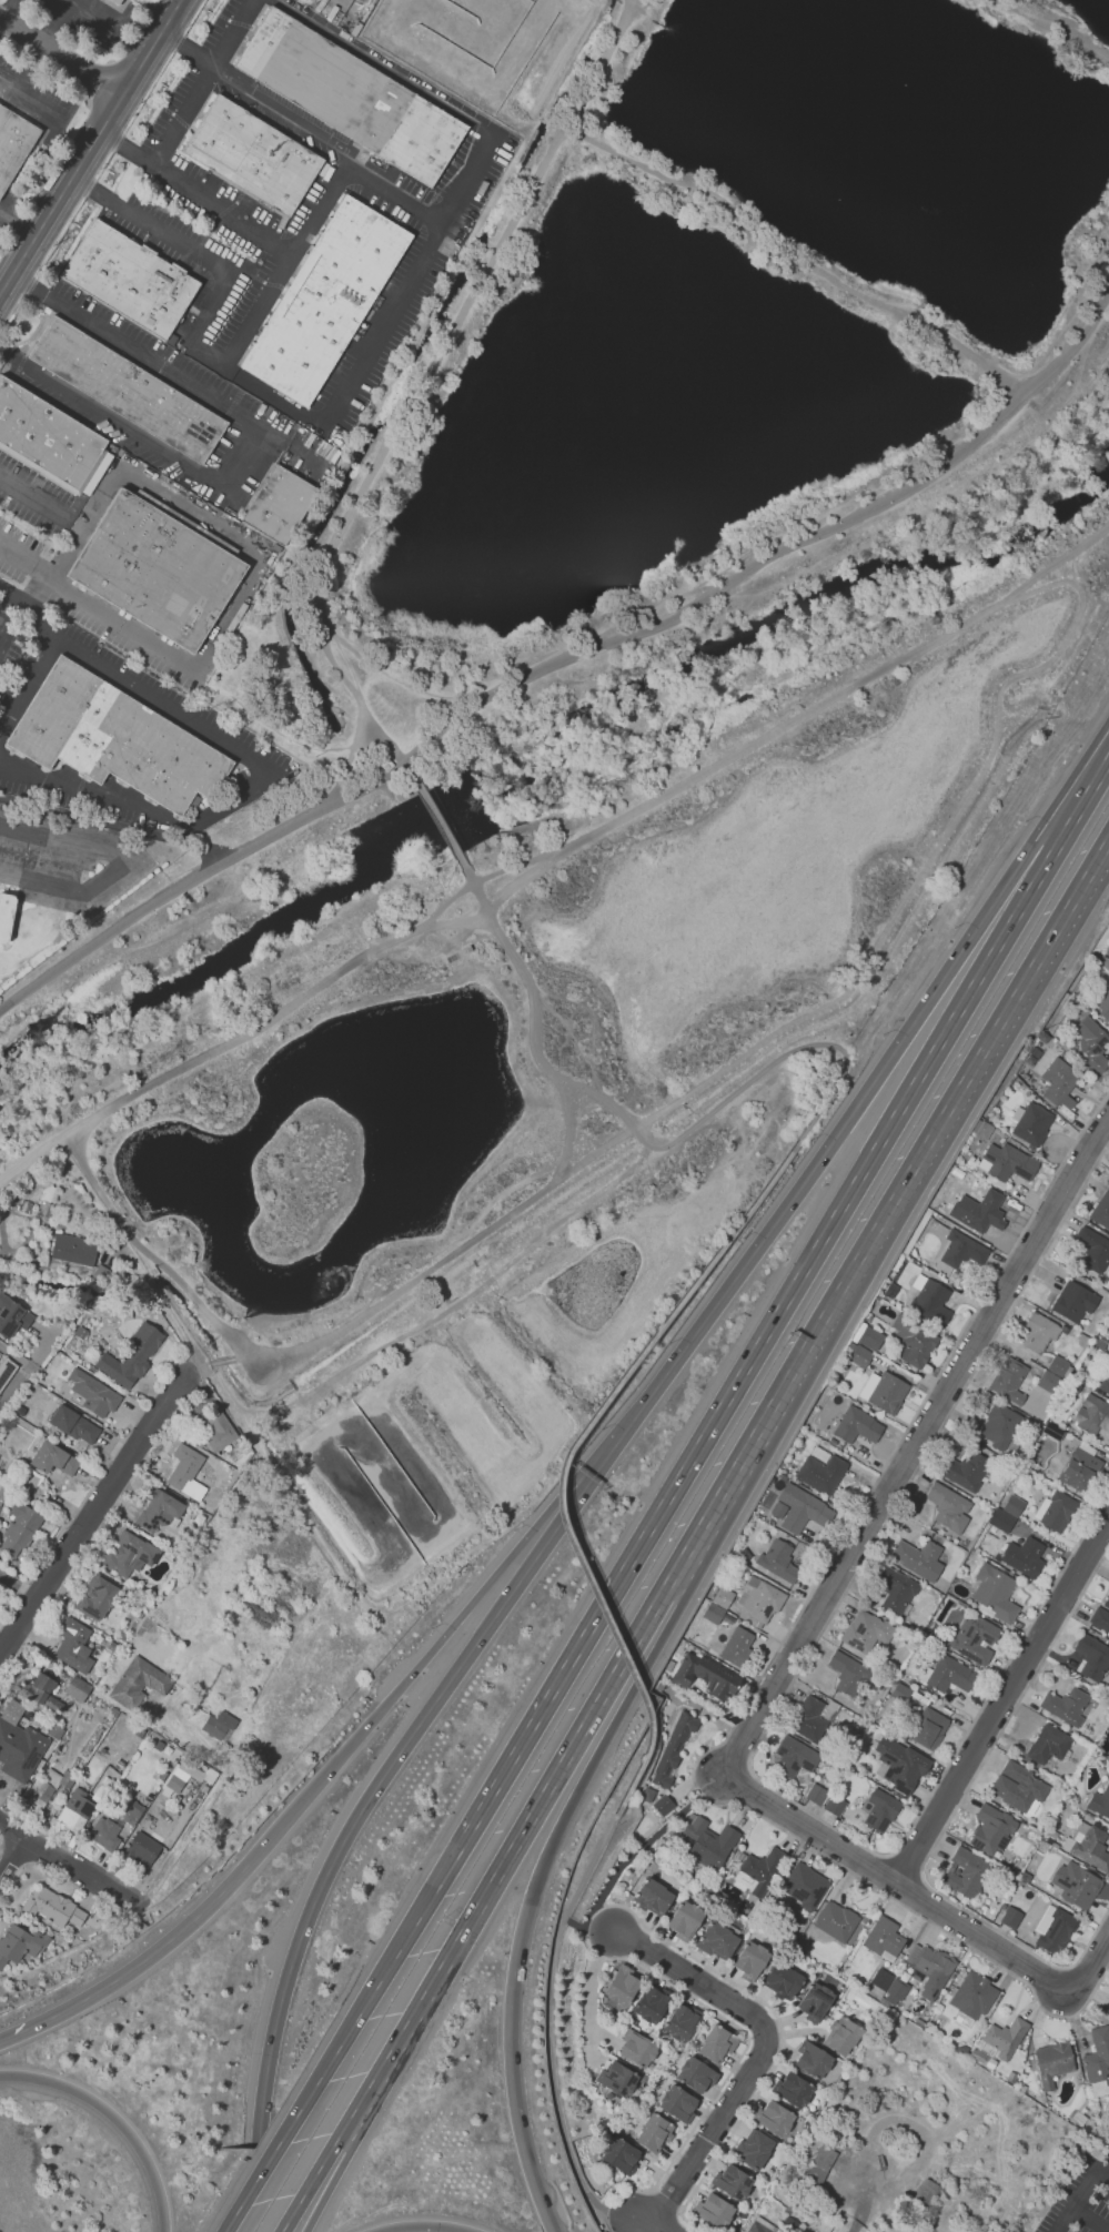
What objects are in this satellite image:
road: (343, 1)
road: (67, 2)
building: (118, 2)
road: (1058, 22)
road: (61, 57)
road: (216, 58)
road: (601, 62)
building: (354, 97)
road: (286, 112)
road: (183, 115)
road: (99, 130)
building: (14, 144)
building: (255, 156)
road: (16, 232)
road: (285, 253)
road: (9, 254)
road: (792, 260)
road: (14, 267)
building: (133, 280)
road: (6, 282)
building: (327, 301)
road: (258, 310)
road: (369, 352)
road: (430, 365)
building: (130, 391)
building: (49, 437)
road: (245, 444)
road: (30, 497)
road: (177, 502)
building: (278, 504)
road: (24, 563)
road: (1072, 566)
building: (160, 570)
road: (42, 619)
road: (119, 628)
road: (2, 632)
road: (564, 659)
road: (382, 671)
road: (27, 679)
road: (354, 693)
park: (603, 729)
road: (772, 735)
building: (119, 741)
road: (351, 759)
building: (386, 762)
road: (411, 771)
road: (253, 784)
road: (1087, 794)
road: (442, 822)
road: (115, 828)
road: (1049, 836)
road: (931, 856)
road: (127, 862)
road: (523, 879)
building: (8, 917)
road: (463, 922)
building: (460, 953)
building: (1102, 962)
building: (1102, 1003)
road: (587, 1009)
road: (577, 1043)
building: (1090, 1046)
road: (559, 1051)
road: (809, 1068)
building: (1059, 1082)
building: (1031, 1123)
road: (567, 1131)
road: (645, 1142)
road: (31, 1158)
road: (820, 1159)
building: (1006, 1162)
road: (891, 1204)
road: (839, 1206)
building: (1101, 1210)
building: (980, 1211)
building: (1092, 1248)
building: (72, 1249)
building: (961, 1250)
road: (162, 1268)
building: (928, 1299)
building: (1072, 1301)
building: (12, 1316)
road: (437, 1320)
building: (1039, 1332)
building: (870, 1339)
building: (915, 1341)
road: (241, 1355)
building: (130, 1356)
building: (860, 1356)
road: (221, 1360)
road: (214, 1364)
building: (1057, 1364)
road: (196, 1371)
road: (200, 1373)
building: (1009, 1380)
building: (1047, 1382)
building: (1103, 1384)
road: (16, 1385)
building: (95, 1392)
building: (888, 1393)
building: (1092, 1414)
building: (74, 1425)
building: (856, 1425)
building: (998, 1427)
building: (220, 1428)
building: (1052, 1432)
road: (566, 1455)
road: (921, 1456)
building: (52, 1458)
building: (967, 1470)
building: (1080, 1470)
building: (188, 1473)
building: (821, 1473)
building: (54, 1478)
building: (1012, 1505)
building: (948, 1507)
building: (804, 1509)
building: (159, 1511)
road: (88, 1513)
building: (1056, 1513)
building: (1000, 1521)
building: (19, 1529)
building: (130, 1553)
building: (917, 1556)
building: (1022, 1557)
building: (774, 1564)
building: (895, 1587)
building: (994, 1593)
building: (95, 1597)
building: (723, 1597)
building: (759, 1602)
building: (713, 1612)
building: (1101, 1615)
building: (866, 1632)
building: (975, 1640)
building: (73, 1645)
building: (738, 1648)
road: (433, 1652)
building: (1092, 1656)
road: (769, 1665)
building: (847, 1672)
building: (949, 1675)
building: (707, 1677)
building: (140, 1683)
building: (694, 1688)
building: (78, 1689)
building: (43, 1693)
building: (899, 1693)
building: (1068, 1705)
road: (542, 1707)
road: (1006, 1708)
road: (774, 1710)
building: (809, 1720)
building: (213, 1723)
building: (928, 1727)
building: (56, 1731)
building: (1049, 1745)
building: (19, 1750)
building: (673, 1750)
building: (789, 1757)
road: (768, 1763)
building: (900, 1764)
road: (591, 1765)
road: (384, 1778)
building: (68, 1779)
building: (175, 1784)
building: (1018, 1786)
building: (103, 1790)
building: (41, 1792)
building: (648, 1795)
building: (817, 1795)
building: (1100, 1802)
building: (664, 1805)
building: (835, 1806)
building: (75, 1811)
building: (880, 1811)
building: (133, 1814)
road: (948, 1817)
building: (991, 1829)
road: (13, 1831)
building: (105, 1834)
building: (708, 1841)
road: (644, 1844)
building: (1090, 1846)
building: (142, 1849)
road: (512, 1850)
road: (13, 1861)
road: (904, 1865)
building: (758, 1872)
building: (966, 1872)
road: (83, 1875)
road: (14, 1883)
building: (1075, 1883)
road: (898, 1886)
building: (803, 1887)
building: (653, 1897)
building: (52, 1907)
building: (1010, 1917)
building: (685, 1920)
building: (836, 1922)
road: (574, 1925)
road: (597, 1928)
building: (1056, 1931)
building: (885, 1939)
building: (716, 1940)
building: (19, 1943)
road: (149, 1957)
building: (750, 1961)
road: (1090, 1965)
building: (932, 1971)
road: (594, 1975)
building: (782, 1981)
building: (888, 1983)
building: (622, 1986)
building: (974, 1996)
building: (814, 2002)
building: (652, 2003)
building: (1107, 2007)
road: (550, 2021)
building: (682, 2022)
road: (780, 2031)
road: (347, 2032)
road: (605, 2036)
building: (1005, 2037)
building: (841, 2038)
building: (717, 2043)
road: (513, 2044)
road: (591, 2049)
building: (637, 2049)
road: (766, 2049)
road: (743, 2050)
building: (1098, 2054)
building: (809, 2060)
building: (1052, 2062)
building: (696, 2073)
building: (617, 2078)
building: (790, 2089)
building: (677, 2102)
road: (114, 2118)
building: (772, 2118)
road: (909, 2120)
building: (655, 2132)
building: (750, 2149)
building: (619, 2154)
building: (819, 2164)
road: (1103, 2171)
road: (533, 2177)
road: (314, 2180)
road: (331, 2182)
building: (729, 2182)
building: (925, 2191)
parking lot: (1082, 2199)
road: (869, 2200)
road: (1076, 2200)
building: (715, 2212)
road: (1091, 2216)
road: (646, 2221)
road: (421, 2226)
building: (756, 2228)

